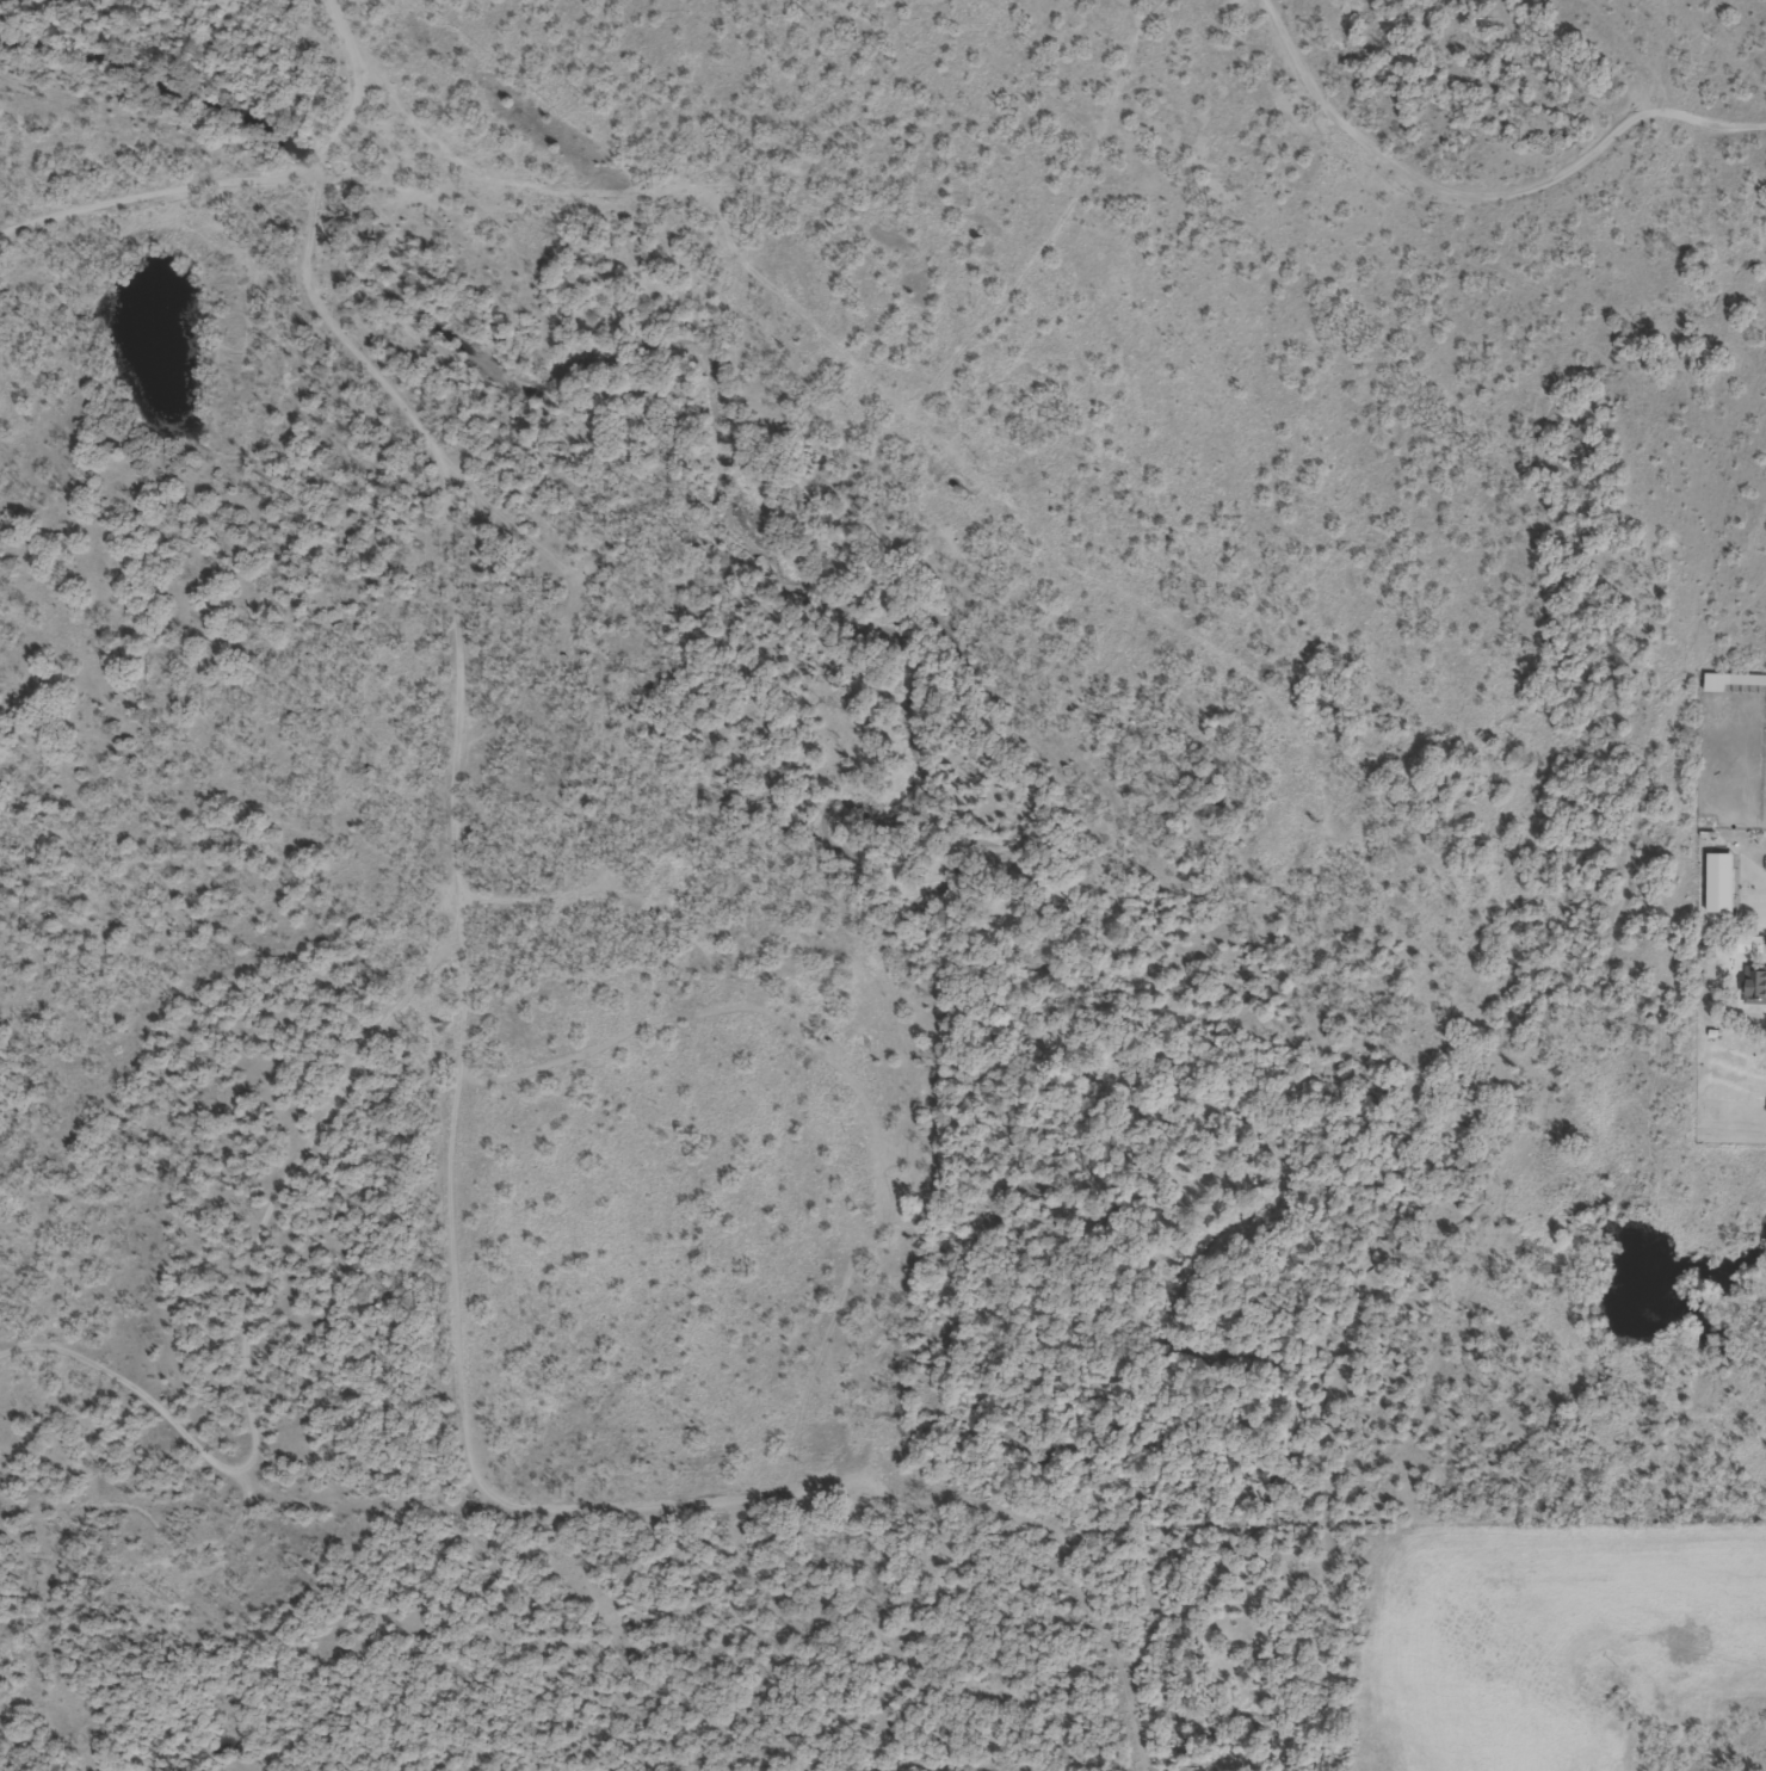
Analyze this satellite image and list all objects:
building: (1723, 884)
building: (1755, 986)

